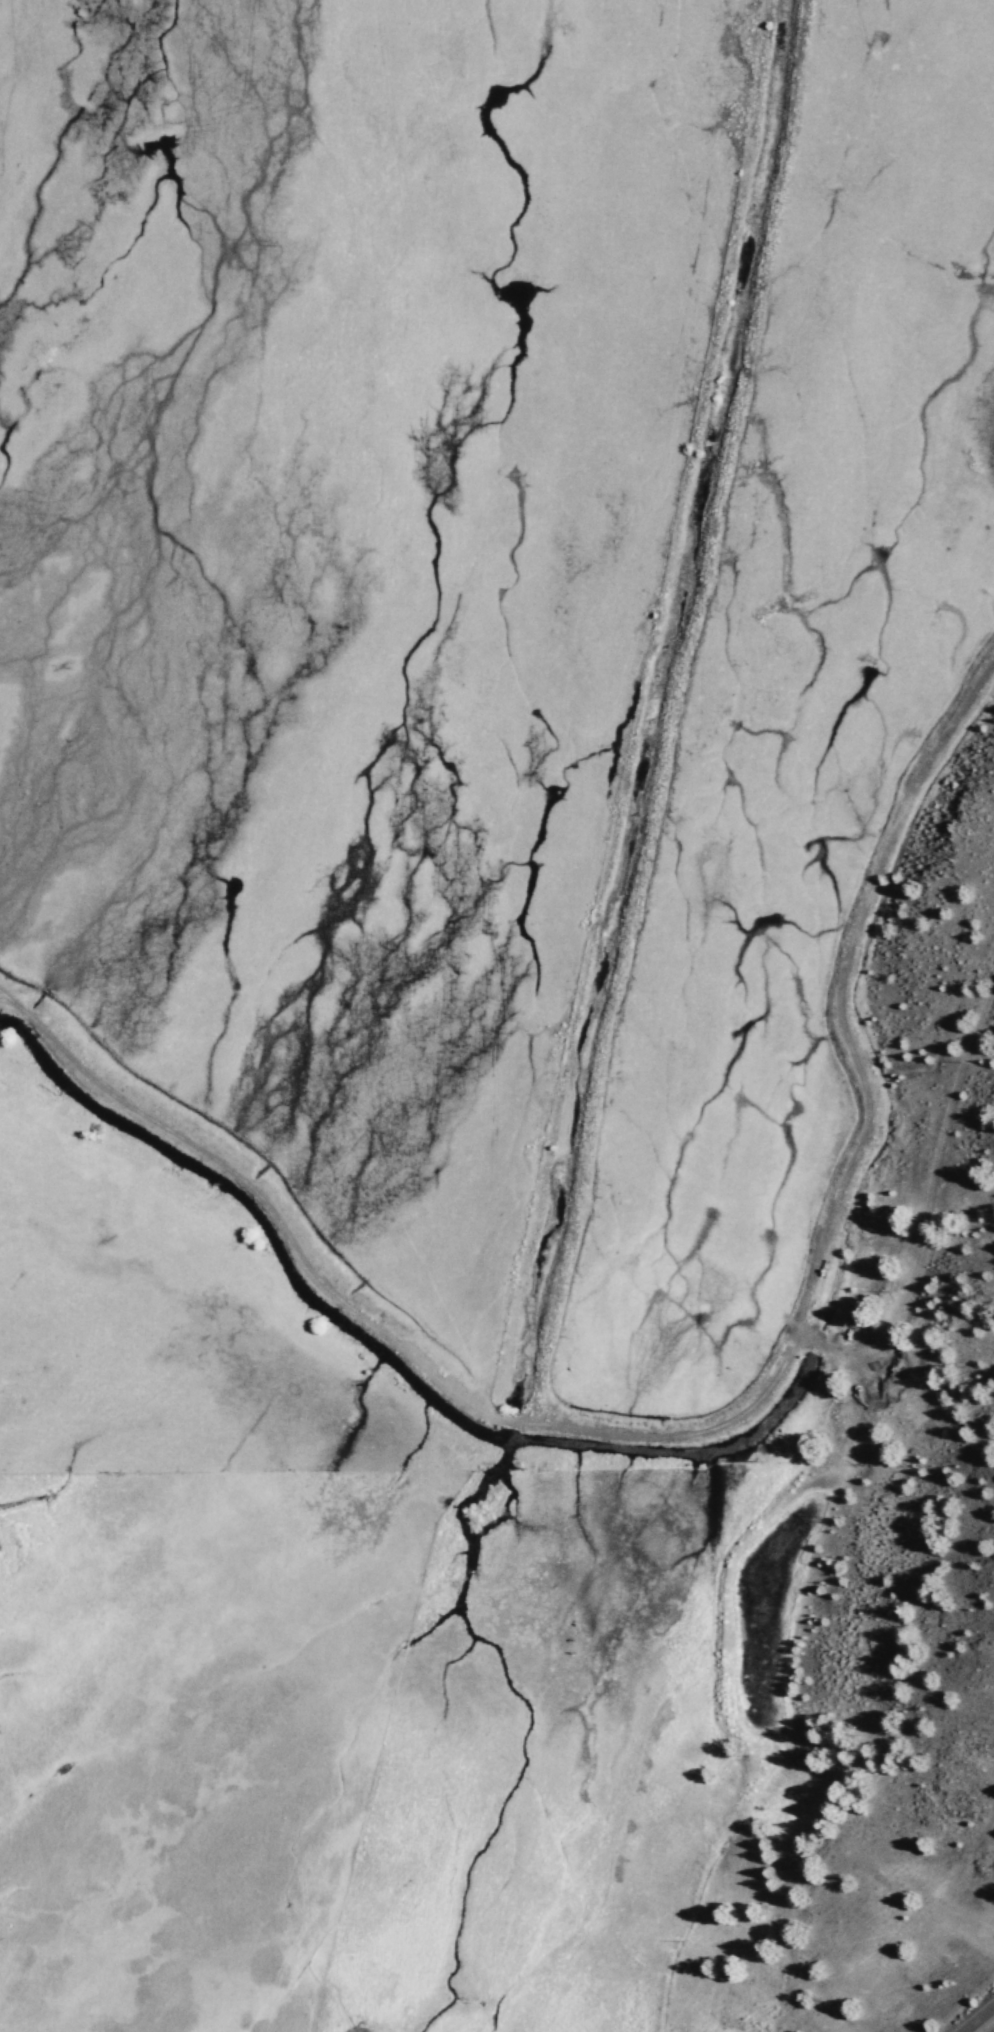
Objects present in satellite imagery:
road: (985, 2025)

